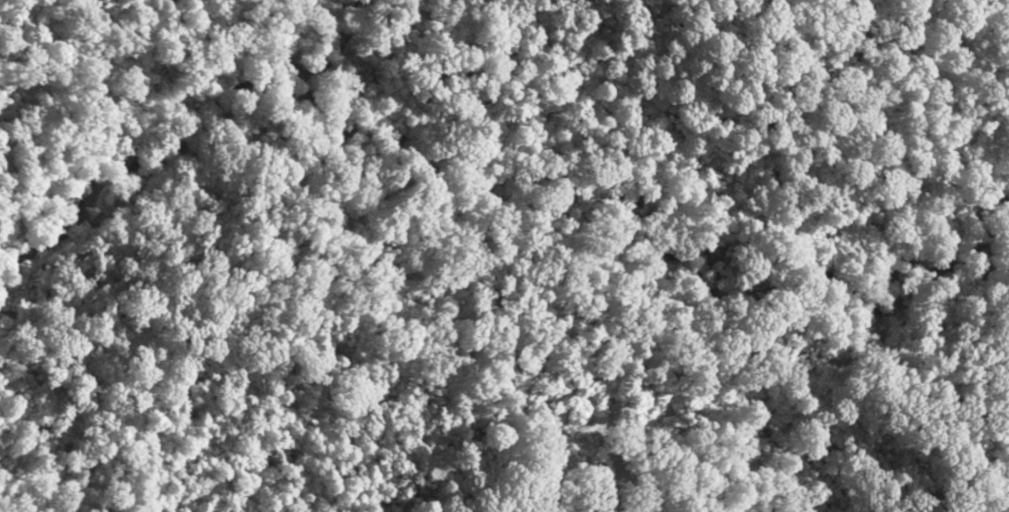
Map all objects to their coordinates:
road: (880, 448)

